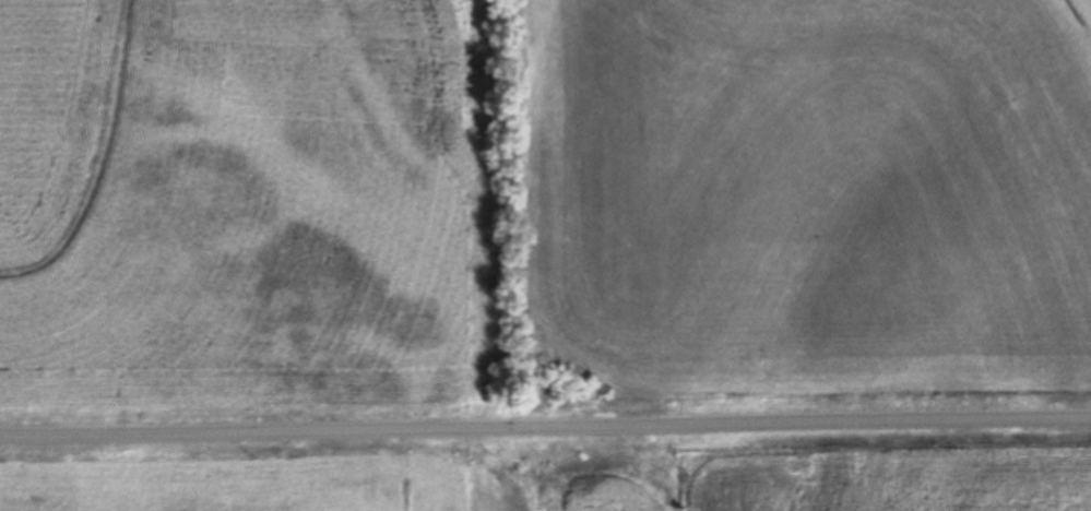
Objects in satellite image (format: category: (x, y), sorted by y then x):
road: (545, 417)

